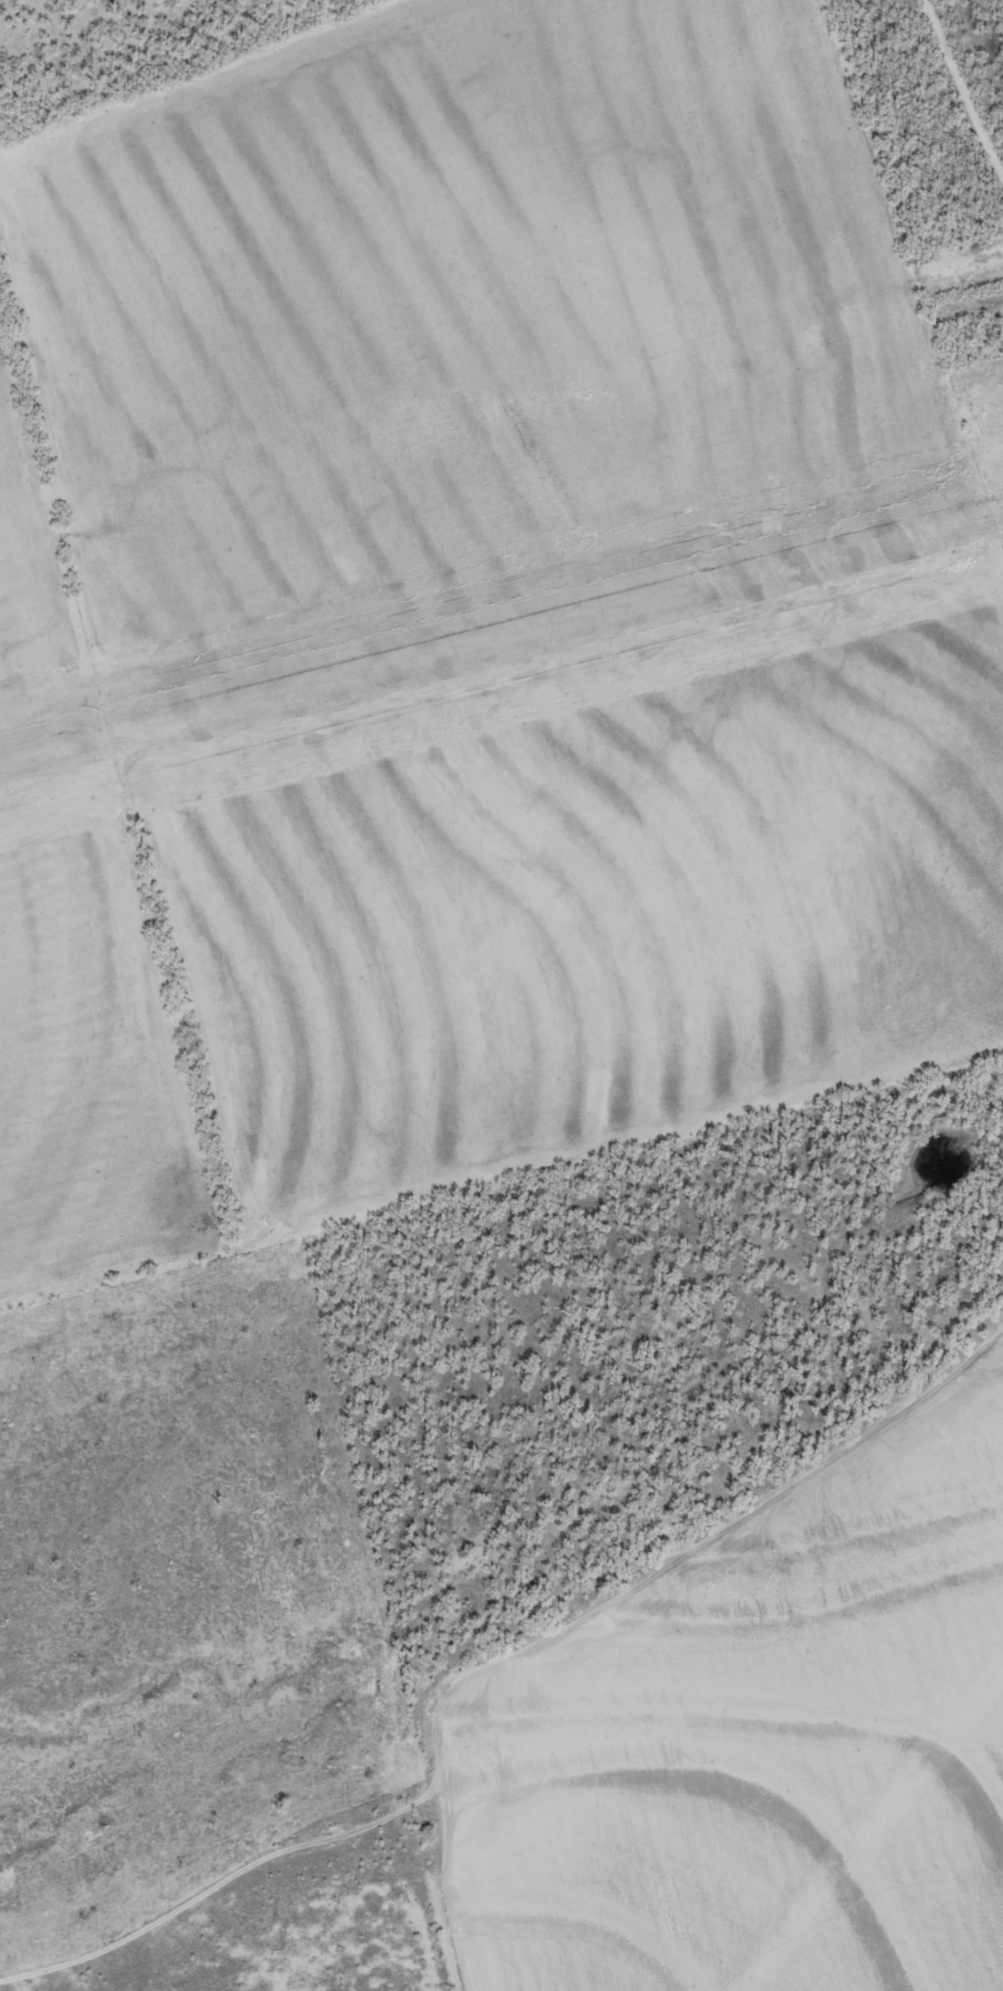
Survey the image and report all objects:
road: (959, 73)

